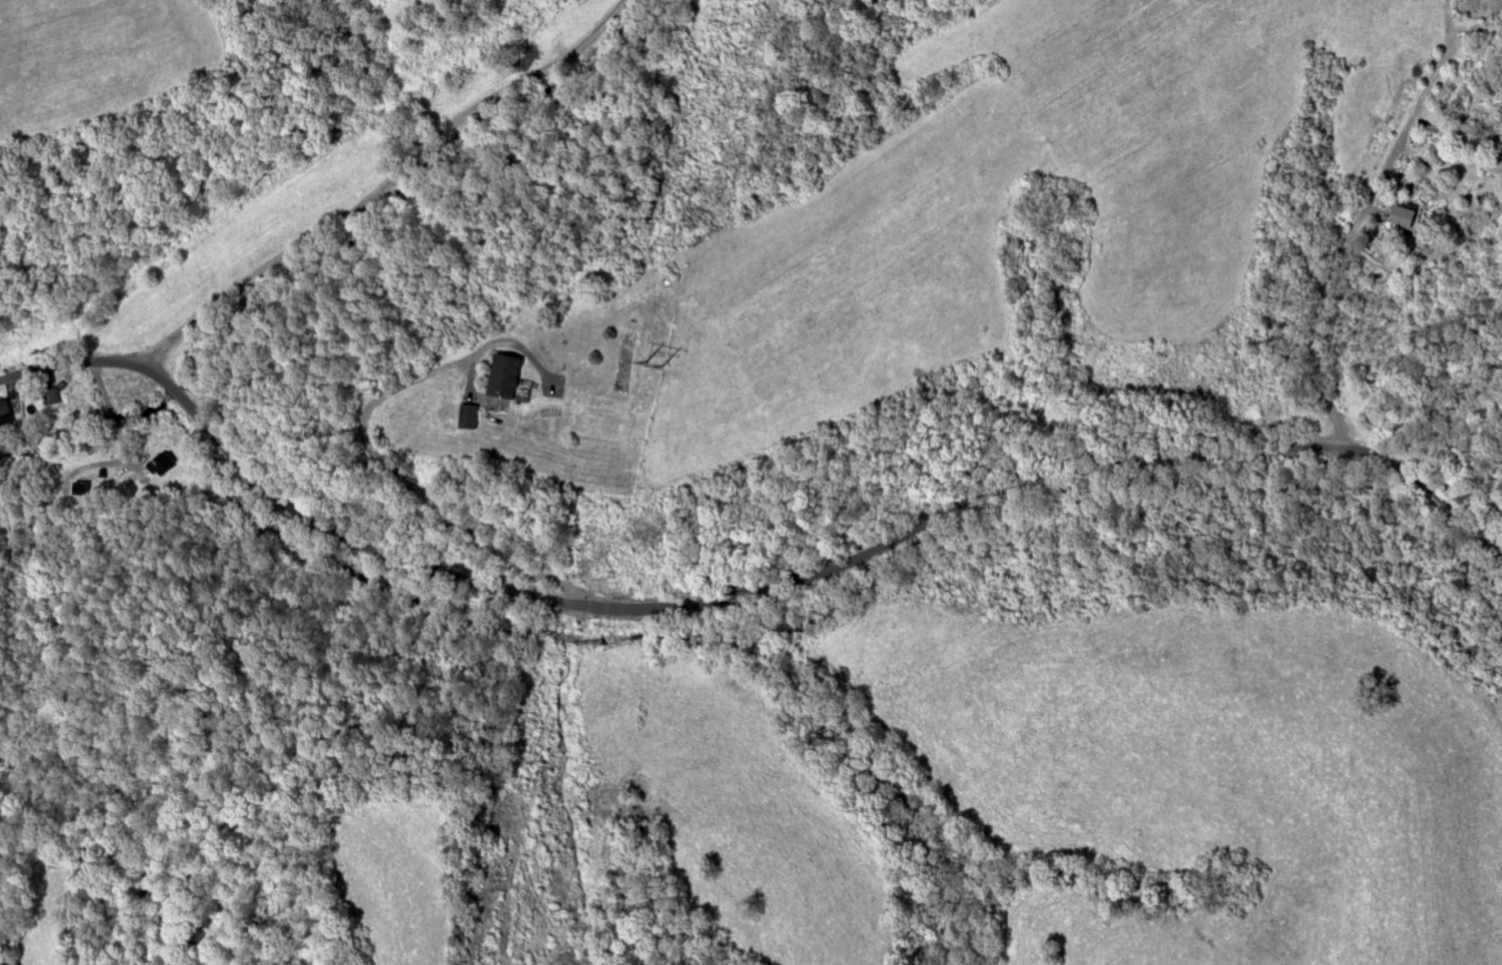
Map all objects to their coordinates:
road: (385, 186)
building: (1406, 217)
road: (1344, 237)
power tower: (653, 363)
building: (506, 377)
building: (53, 399)
building: (6, 415)
building: (470, 417)
road: (379, 456)
building: (162, 465)
road: (740, 594)

